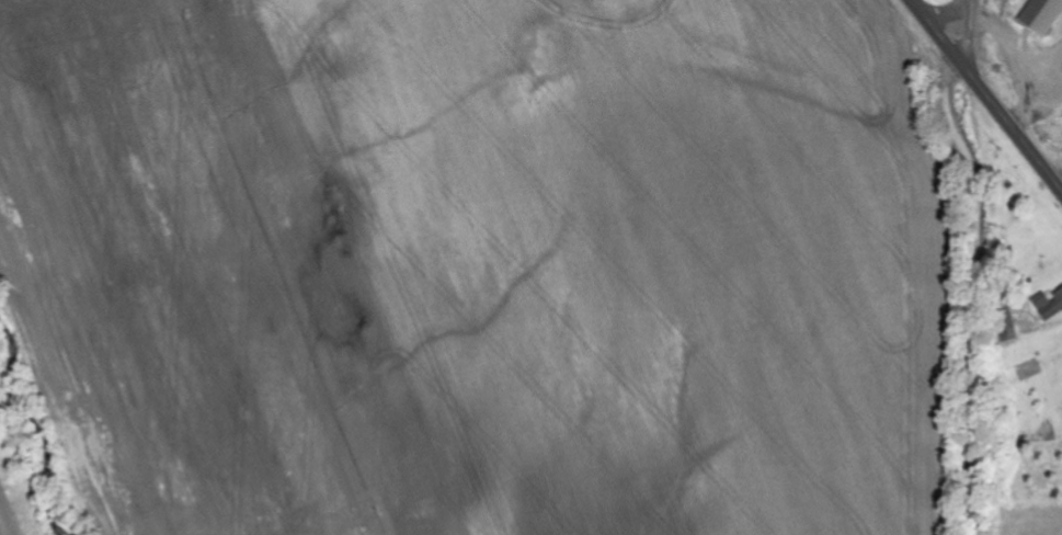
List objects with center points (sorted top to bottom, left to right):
road: (932, 21)
road: (964, 22)
road: (1005, 115)
road: (977, 294)
building: (1050, 307)

